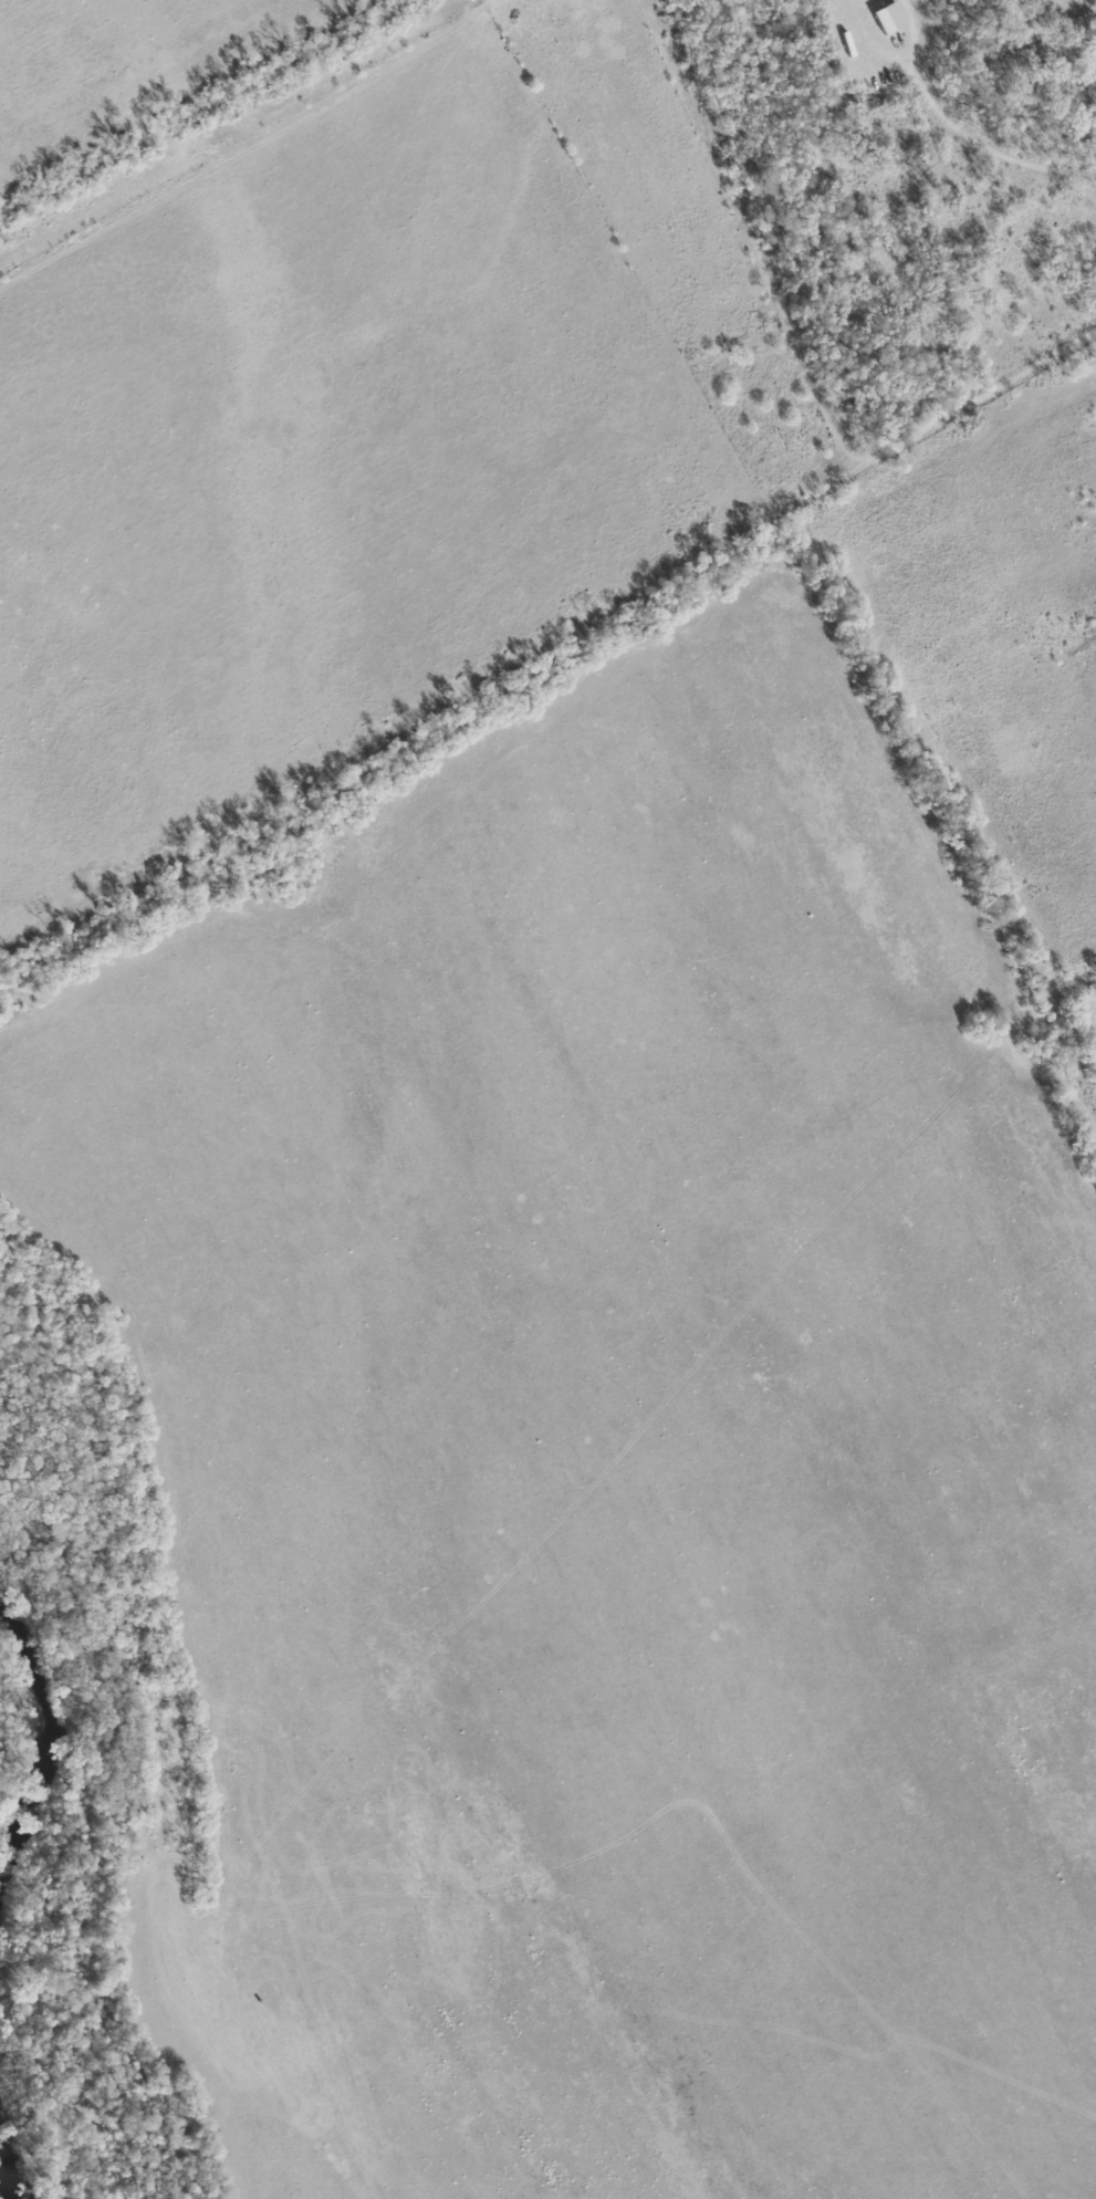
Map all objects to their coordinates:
building: (888, 18)
river: (52, 1740)
river: (6, 2180)

